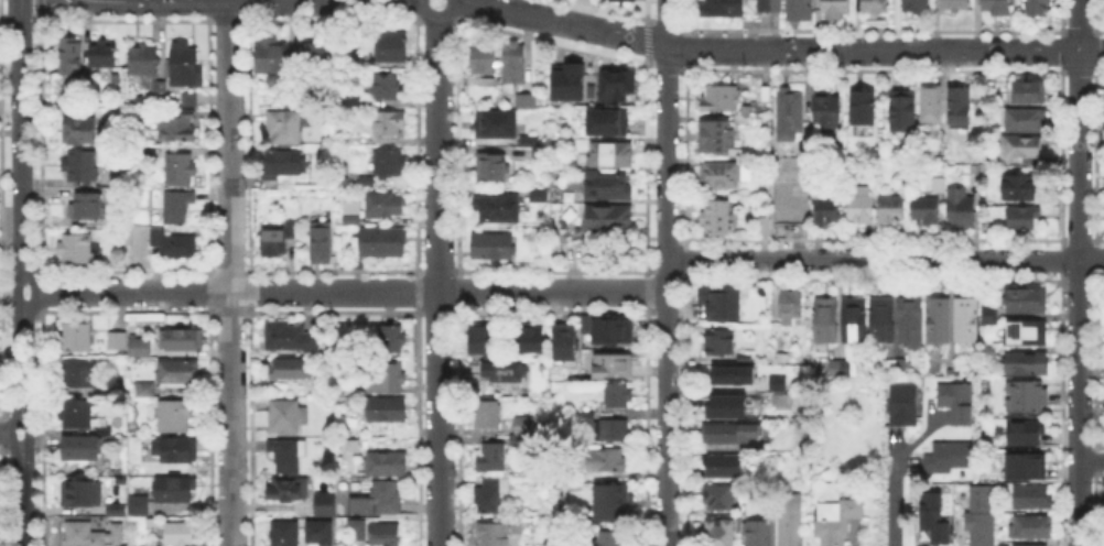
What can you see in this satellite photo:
road: (263, 0)
building: (620, 1)
building: (770, 6)
building: (956, 6)
building: (876, 7)
building: (917, 7)
building: (998, 8)
building: (1039, 8)
building: (724, 9)
road: (436, 10)
building: (801, 10)
building: (836, 10)
building: (393, 47)
road: (782, 48)
building: (318, 54)
building: (105, 55)
building: (273, 57)
building: (71, 58)
building: (483, 59)
building: (144, 61)
building: (186, 62)
building: (515, 64)
building: (569, 80)
building: (489, 83)
building: (617, 84)
building: (387, 88)
building: (161, 91)
building: (1029, 92)
building: (722, 98)
building: (190, 99)
building: (526, 99)
building: (353, 100)
building: (932, 105)
building: (865, 108)
building: (961, 109)
building: (1103, 109)
building: (827, 111)
building: (792, 113)
building: (905, 113)
building: (605, 121)
building: (1027, 122)
building: (389, 123)
building: (494, 123)
building: (180, 129)
building: (288, 129)
building: (82, 132)
building: (716, 136)
building: (524, 140)
road: (21, 145)
building: (1024, 148)
building: (542, 155)
building: (613, 155)
building: (285, 164)
building: (391, 164)
building: (83, 167)
building: (493, 167)
building: (181, 171)
building: (725, 176)
building: (119, 179)
building: (367, 182)
building: (940, 185)
building: (609, 187)
building: (1025, 189)
building: (540, 197)
building: (789, 205)
building: (178, 206)
building: (387, 206)
building: (87, 207)
building: (499, 209)
building: (861, 209)
building: (891, 210)
building: (961, 210)
building: (829, 211)
building: (927, 211)
building: (353, 214)
building: (609, 220)
building: (717, 220)
building: (1024, 220)
building: (765, 228)
building: (277, 239)
building: (323, 243)
building: (382, 244)
building: (175, 245)
building: (494, 247)
building: (76, 251)
road: (885, 259)
road: (1078, 272)
road: (226, 273)
road: (667, 273)
road: (439, 277)
road: (345, 290)
building: (722, 301)
building: (1028, 301)
building: (791, 306)
building: (992, 317)
building: (856, 320)
building: (826, 321)
building: (884, 321)
building: (939, 321)
building: (911, 323)
building: (968, 323)
building: (610, 330)
building: (1028, 334)
building: (77, 337)
building: (293, 337)
building: (486, 339)
building: (532, 339)
building: (117, 340)
building: (184, 340)
building: (393, 341)
building: (721, 342)
building: (567, 343)
building: (141, 348)
building: (989, 352)
building: (746, 359)
building: (1027, 363)
building: (615, 367)
building: (903, 368)
building: (291, 369)
building: (840, 369)
building: (504, 371)
building: (180, 373)
building: (78, 374)
building: (387, 378)
building: (729, 379)
building: (775, 382)
building: (120, 389)
building: (145, 391)
building: (620, 395)
building: (1027, 397)
building: (783, 398)
building: (351, 401)
building: (905, 402)
building: (957, 403)
building: (729, 405)
building: (388, 411)
building: (489, 413)
building: (78, 415)
building: (175, 417)
building: (289, 417)
road: (24, 418)
building: (524, 426)
building: (605, 427)
building: (1026, 432)
road: (12, 433)
building: (732, 435)
building: (519, 443)
building: (86, 447)
building: (175, 449)
building: (288, 457)
building: (493, 458)
building: (946, 458)
road: (1091, 460)
building: (607, 461)
building: (1024, 465)
building: (388, 466)
building: (724, 467)
building: (102, 468)
building: (291, 491)
building: (83, 492)
building: (176, 492)
building: (493, 494)
building: (387, 498)
building: (719, 498)
road: (894, 499)
building: (1033, 499)
building: (613, 503)
building: (326, 505)
building: (140, 506)
building: (118, 507)
building: (977, 515)
building: (933, 517)
building: (791, 520)
building: (838, 521)
building: (152, 526)
building: (1033, 528)
building: (317, 531)
building: (119, 533)
building: (504, 533)
building: (386, 534)
building: (721, 534)
building: (182, 535)
building: (295, 535)
building: (760, 535)
building: (84, 536)
building: (613, 539)
building: (563, 540)
building: (1022, 544)

